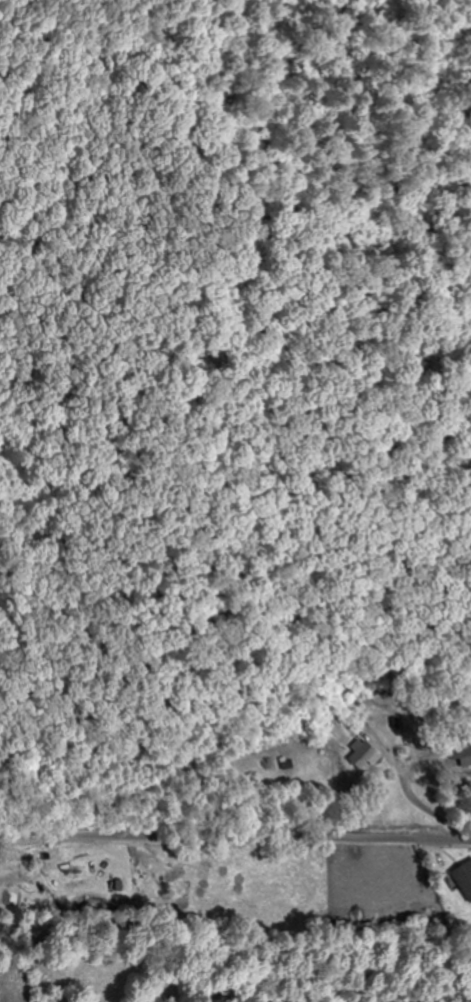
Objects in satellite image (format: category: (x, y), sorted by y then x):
building: (358, 757)
building: (461, 758)
road: (235, 835)
building: (462, 879)

